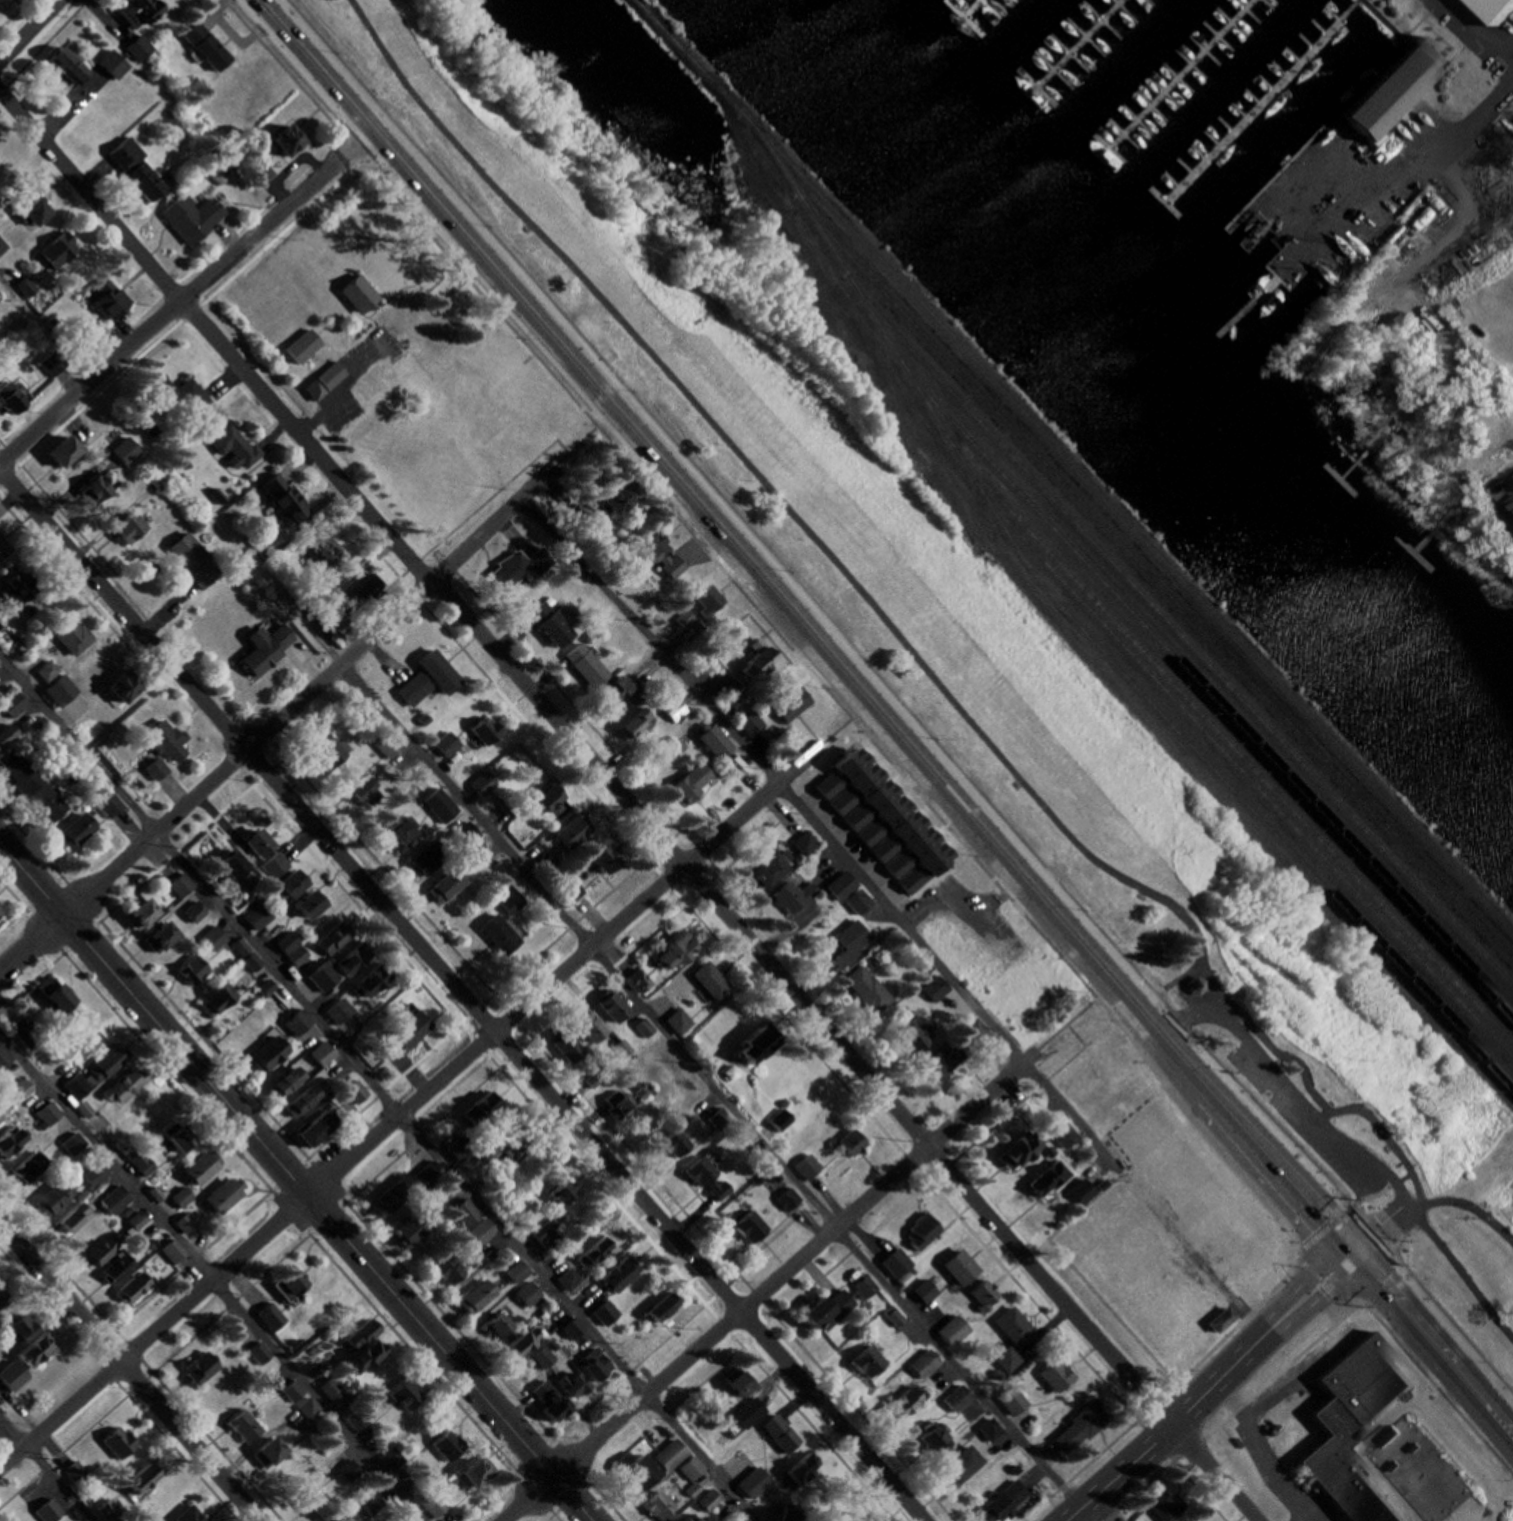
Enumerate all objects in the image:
road: (1354, 2)
pier: (967, 8)
building: (1488, 9)
road: (217, 13)
road: (109, 21)
road: (29, 29)
road: (1481, 31)
parking lot: (1479, 33)
road: (1402, 36)
road: (239, 40)
pier: (1074, 45)
road: (45, 46)
pier: (1179, 74)
building: (1385, 86)
pier: (1258, 104)
road: (1475, 122)
parking lot: (1354, 184)
road: (1359, 198)
park: (1399, 198)
road: (0, 275)
road: (181, 302)
road: (346, 385)
park: (578, 440)
road: (576, 445)
railway: (1077, 456)
road: (1503, 480)
building: (1505, 511)
road: (695, 515)
road: (449, 534)
railway: (1115, 534)
road: (697, 547)
railway: (1152, 554)
railway: (1153, 593)
road: (882, 610)
road: (819, 620)
park: (955, 639)
railway: (1174, 642)
road: (793, 649)
railway: (1202, 703)
road: (278, 721)
road: (837, 730)
railway: (1222, 741)
railway: (1243, 776)
road: (630, 803)
road: (895, 913)
road: (1183, 974)
road: (464, 994)
road: (1068, 1022)
park: (1072, 1030)
road: (1076, 1034)
road: (1260, 1036)
road: (692, 1063)
road: (378, 1088)
road: (1294, 1094)
road: (411, 1105)
parking lot: (1307, 1118)
road: (612, 1126)
road: (314, 1161)
road: (934, 1177)
road: (295, 1183)
road: (281, 1198)
road: (1463, 1201)
road: (1384, 1224)
road: (1327, 1239)
traffic signals: (1366, 1239)
traffic signals: (1335, 1249)
traffic signals: (1351, 1268)
road: (1462, 1269)
road: (1303, 1274)
road: (212, 1282)
road: (770, 1283)
road: (1321, 1293)
road: (1439, 1325)
road: (1318, 1333)
road: (1215, 1343)
road: (140, 1358)
road: (130, 1371)
road: (1164, 1428)
road: (46, 1468)

